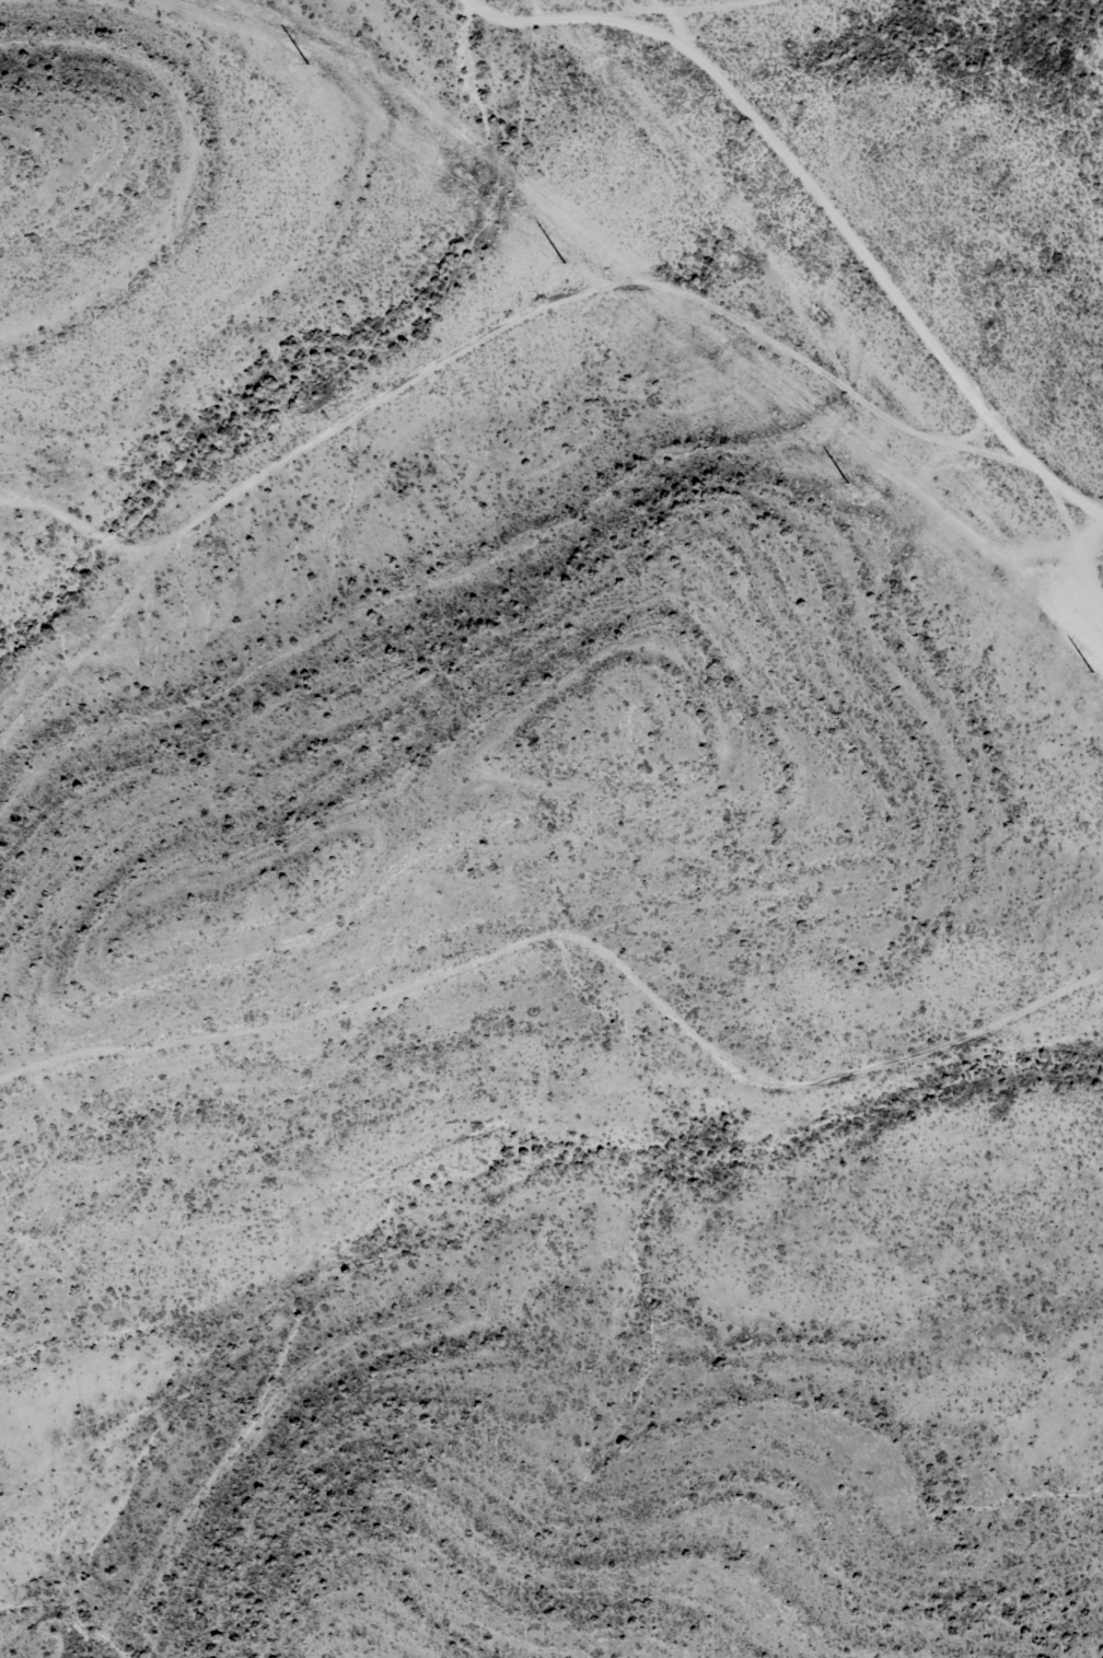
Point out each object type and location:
power tower: (309, 62)
road: (785, 247)
power tower: (566, 262)
road: (365, 402)
power tower: (849, 480)
road: (70, 553)
road: (1071, 664)
power tower: (1090, 671)
road: (568, 974)

